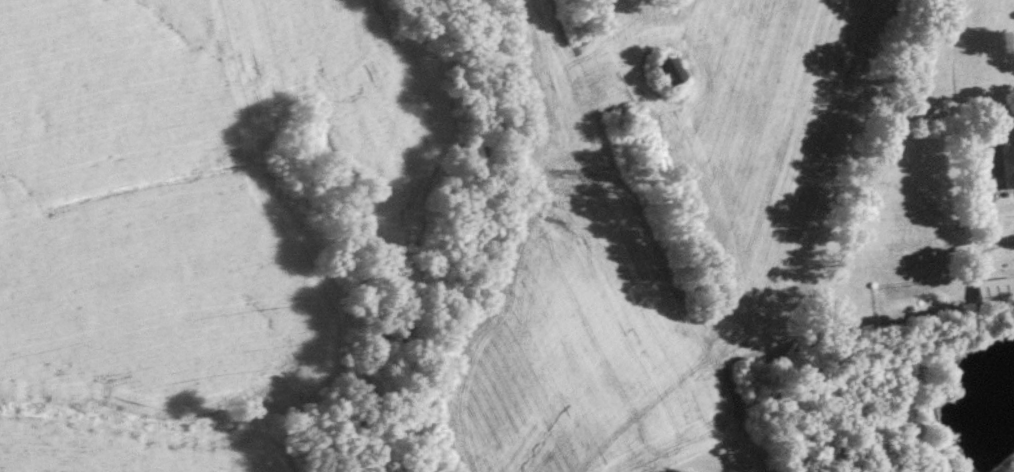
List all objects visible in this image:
building: (666, 73)
building: (999, 168)
building: (995, 291)

